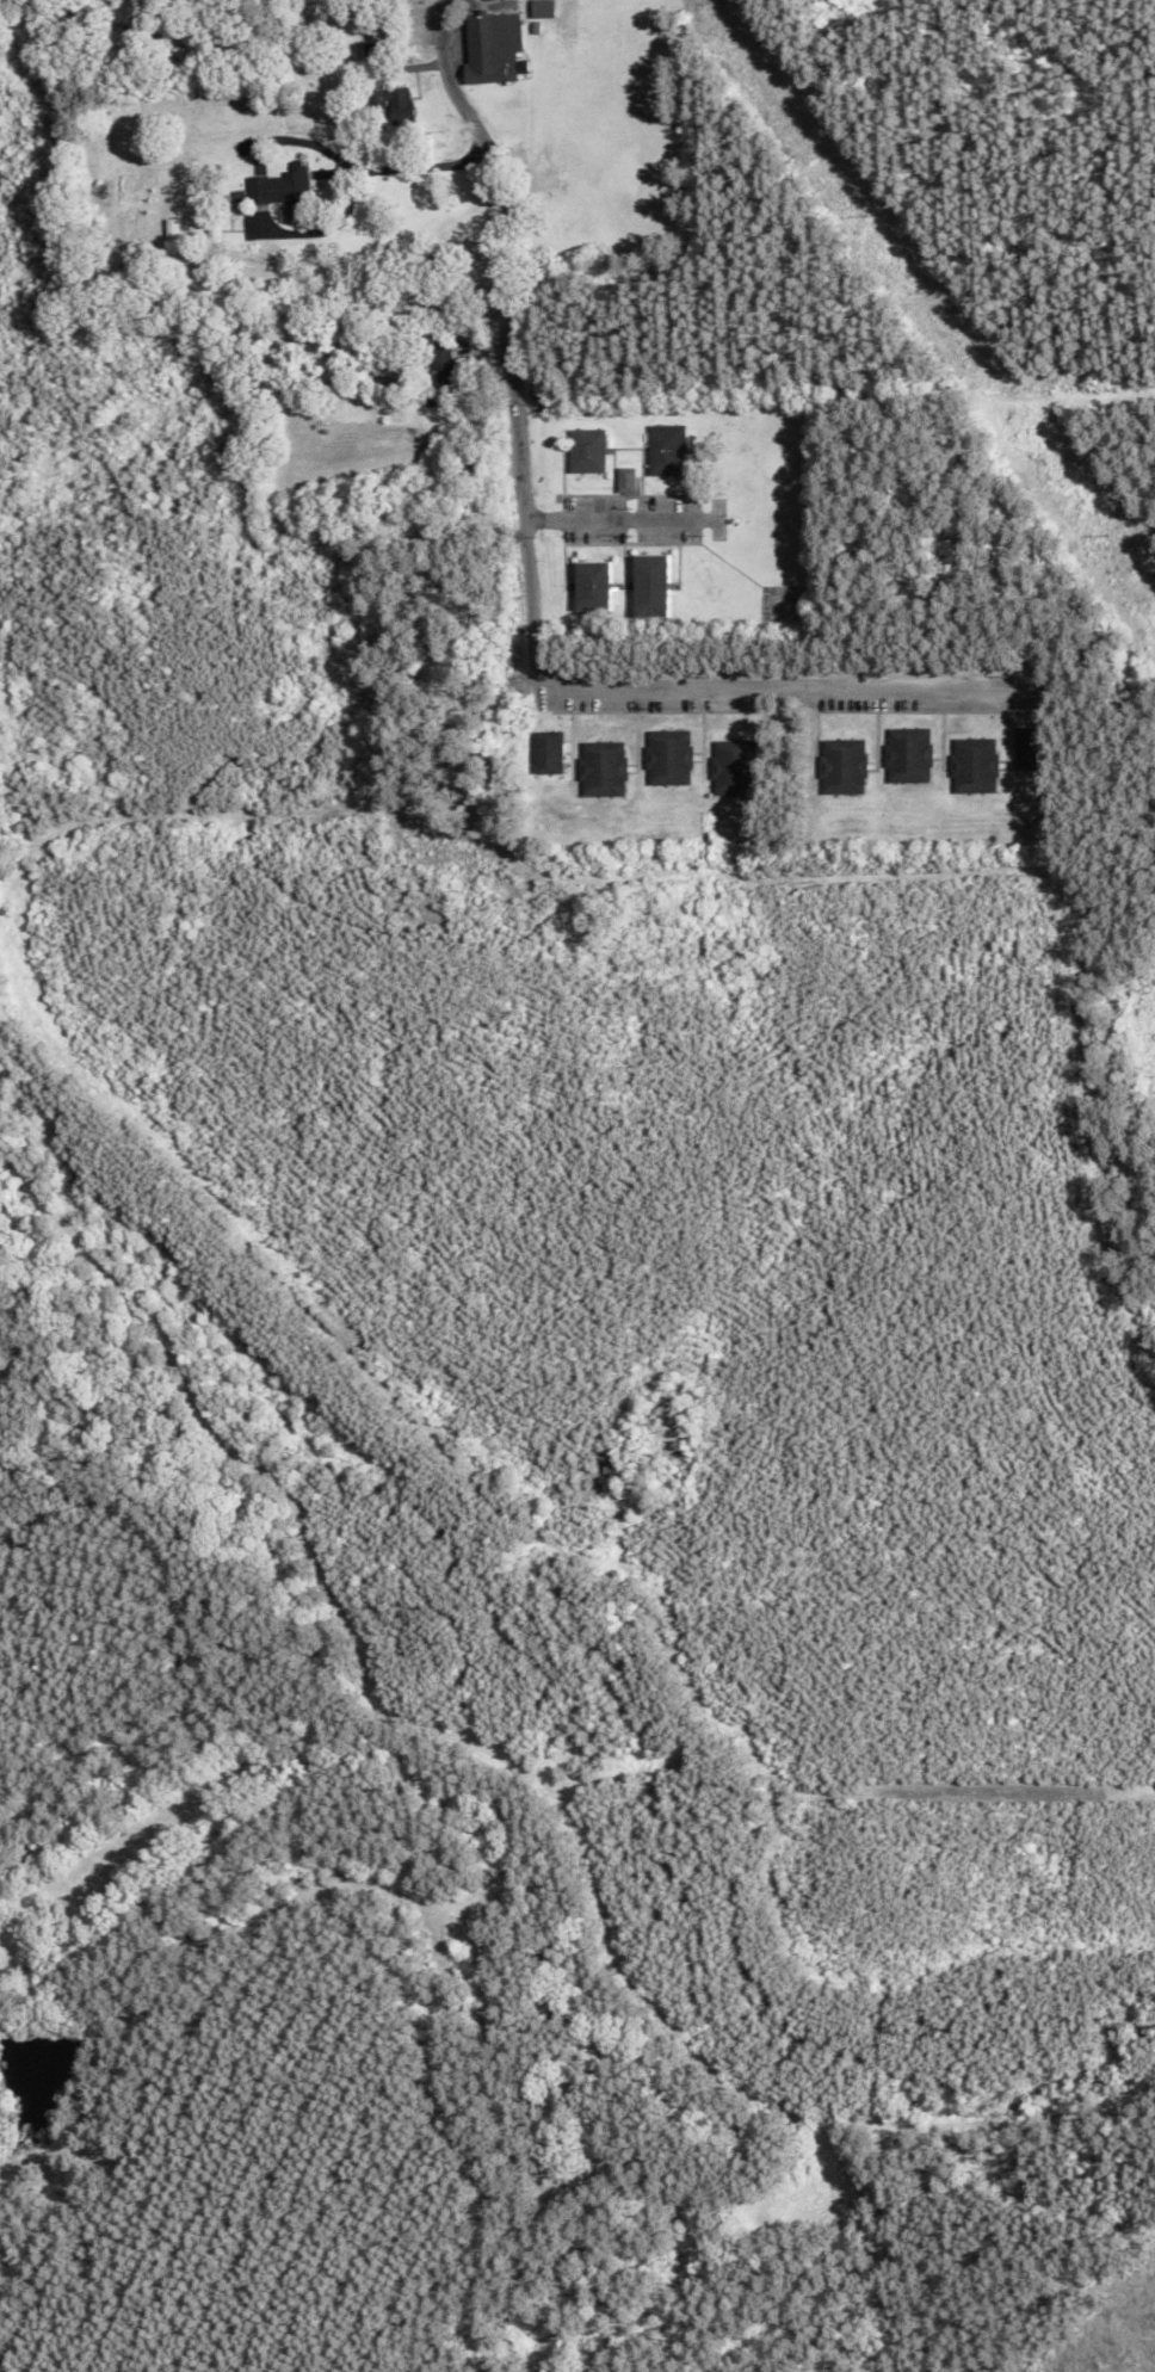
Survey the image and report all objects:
building: (494, 47)
building: (376, 48)
building: (396, 103)
road: (401, 166)
building: (285, 191)
building: (173, 229)
road: (512, 338)
building: (445, 370)
building: (667, 450)
building: (587, 451)
building: (626, 480)
road: (643, 518)
road: (544, 519)
building: (593, 586)
building: (651, 586)
road: (791, 687)
building: (1030, 748)
building: (546, 753)
building: (909, 755)
building: (668, 756)
building: (974, 765)
building: (844, 766)
building: (734, 767)
building: (603, 768)

